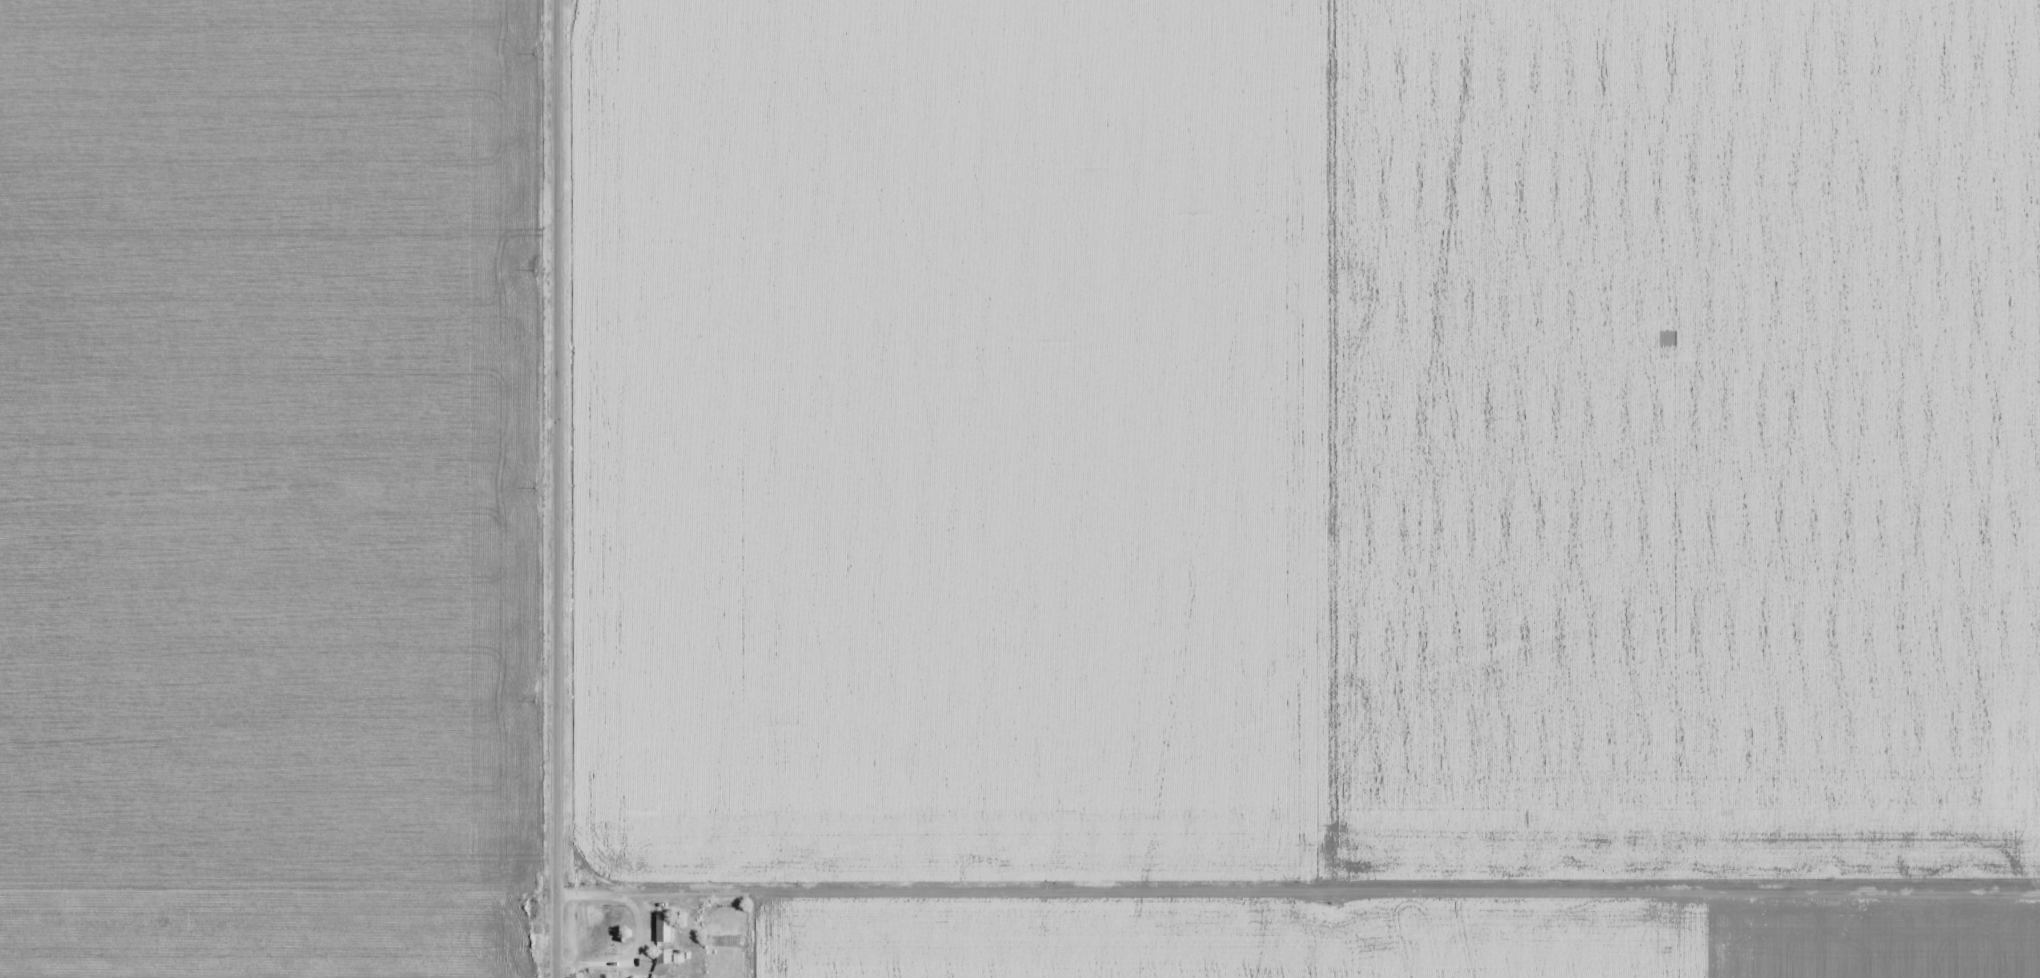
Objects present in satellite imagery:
road: (555, 489)
road: (1298, 891)
building: (661, 929)
building: (692, 962)

